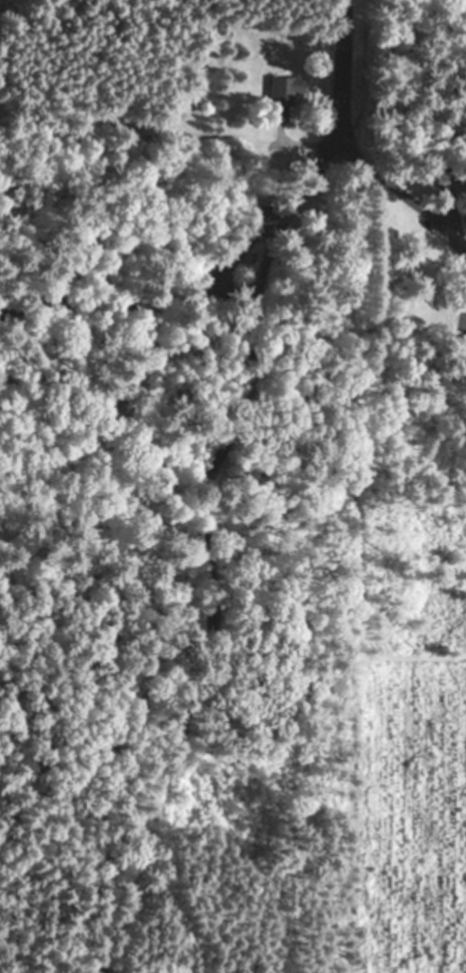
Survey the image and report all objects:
building: (288, 91)
road: (252, 249)
park: (233, 486)
road: (193, 574)

